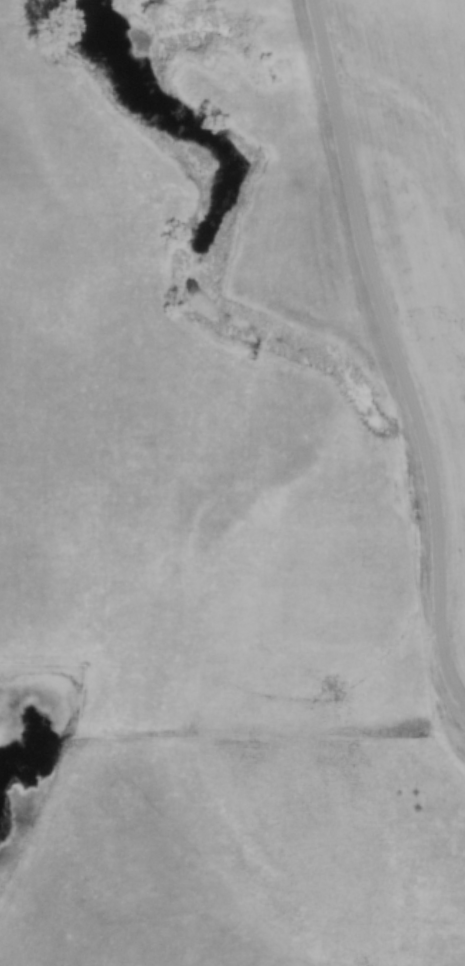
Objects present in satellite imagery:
road: (401, 343)

